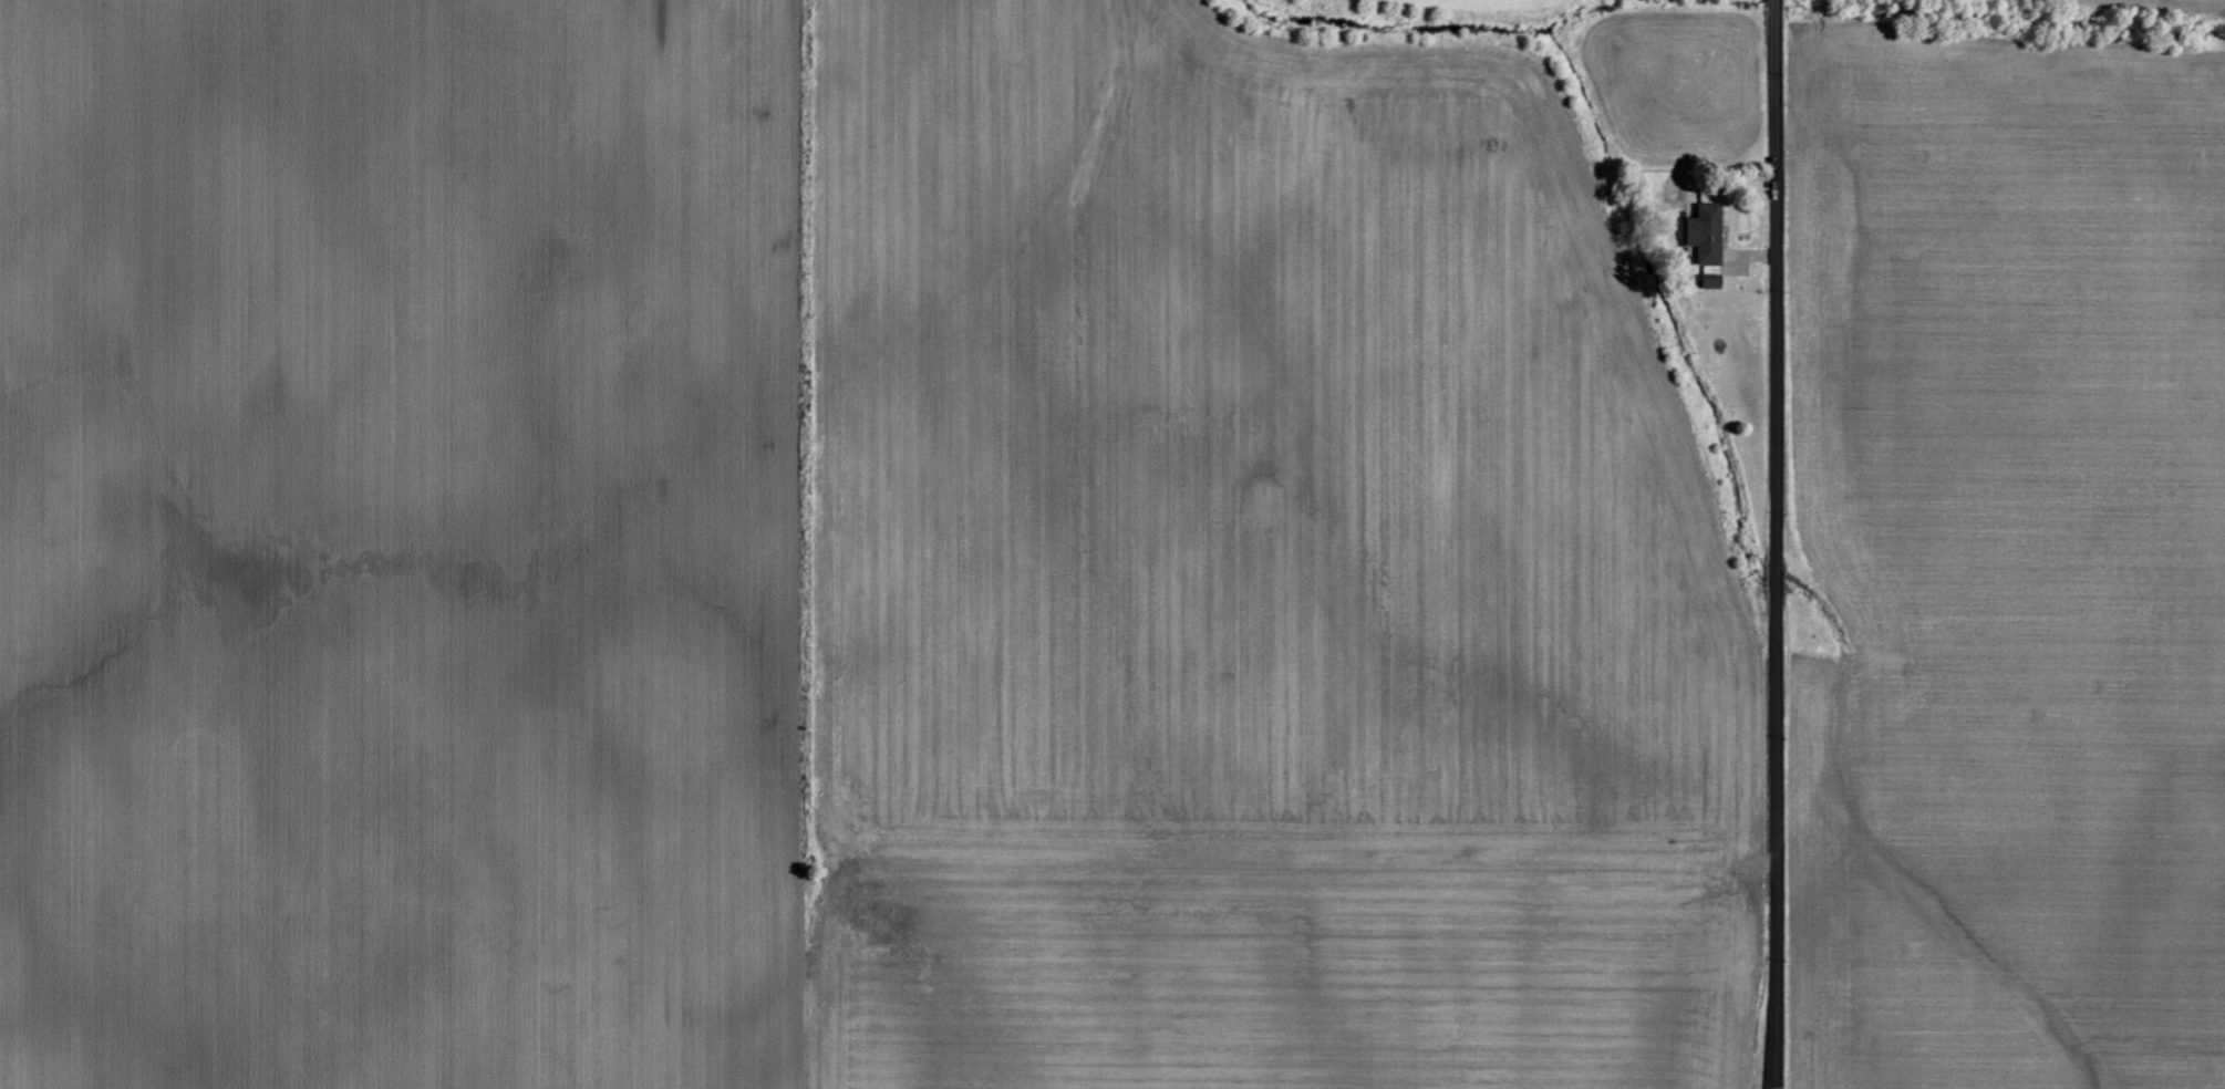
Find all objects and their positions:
road: (1773, 1)
building: (1709, 234)
road: (1773, 546)

